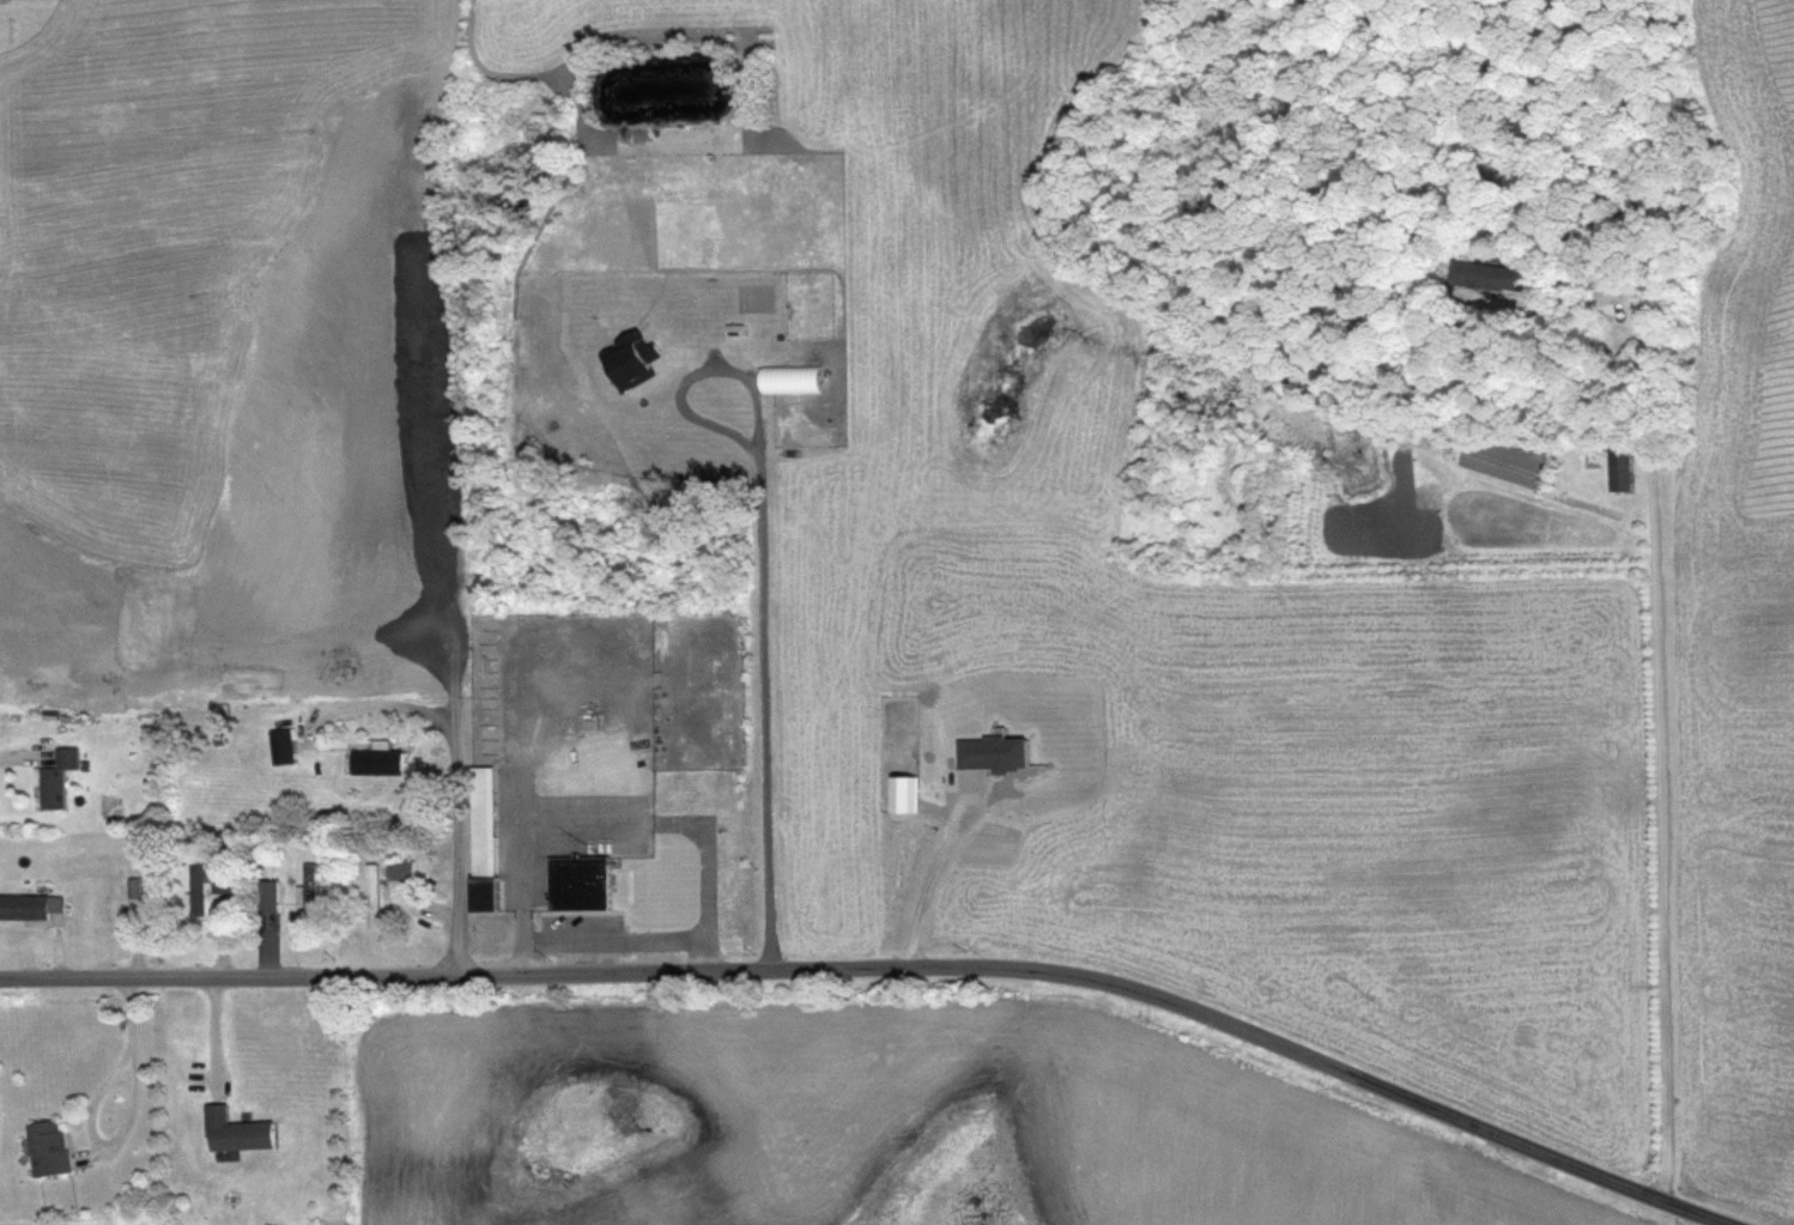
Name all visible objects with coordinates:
building: (1487, 277)
building: (1619, 463)
road: (766, 574)
crop: (1737, 642)
road: (1654, 704)
building: (216, 705)
road: (369, 705)
building: (48, 711)
building: (73, 717)
building: (218, 738)
building: (281, 741)
road: (22, 753)
building: (375, 756)
building: (81, 762)
road: (456, 769)
building: (54, 774)
road: (616, 821)
building: (479, 836)
building: (399, 867)
road: (932, 871)
building: (576, 879)
building: (132, 884)
building: (218, 884)
building: (305, 884)
building: (265, 890)
building: (369, 892)
building: (28, 903)
road: (431, 910)
road: (220, 935)
road: (138, 938)
road: (614, 938)
road: (268, 944)
road: (55, 947)
road: (896, 960)
road: (218, 1021)
road: (128, 1120)
building: (235, 1128)
building: (46, 1144)

